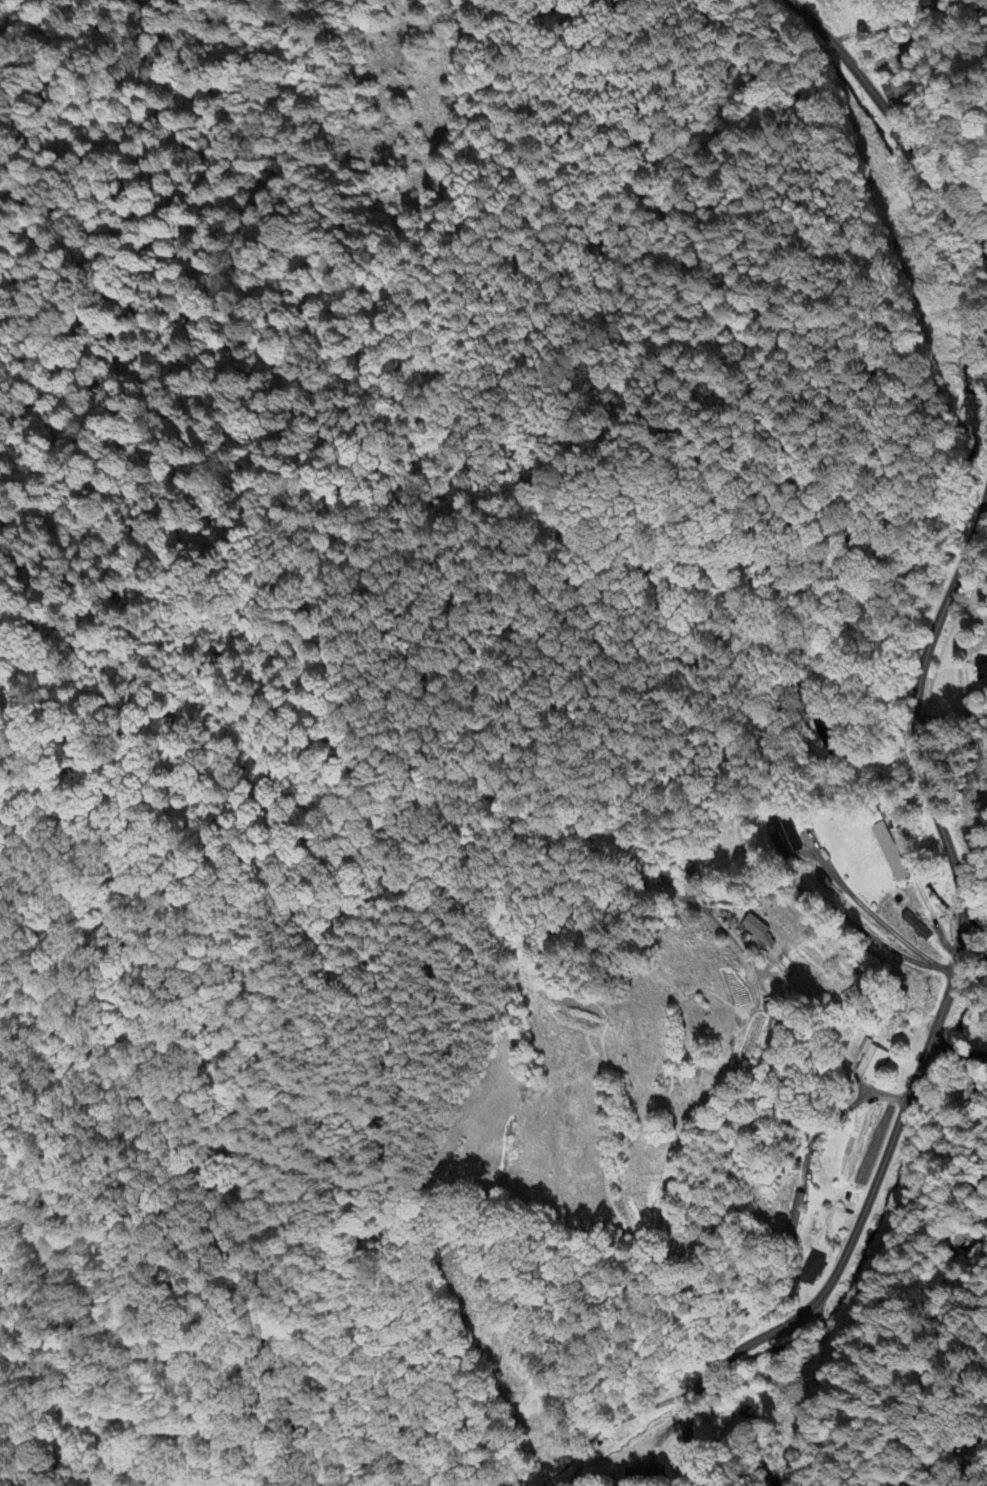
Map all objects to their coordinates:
road: (896, 122)
building: (983, 676)
road: (925, 768)
building: (788, 833)
building: (886, 845)
building: (915, 926)
building: (760, 932)
road: (960, 1051)
building: (871, 1060)
building: (810, 1271)
road: (822, 1288)
road: (610, 1428)
building: (647, 1472)

